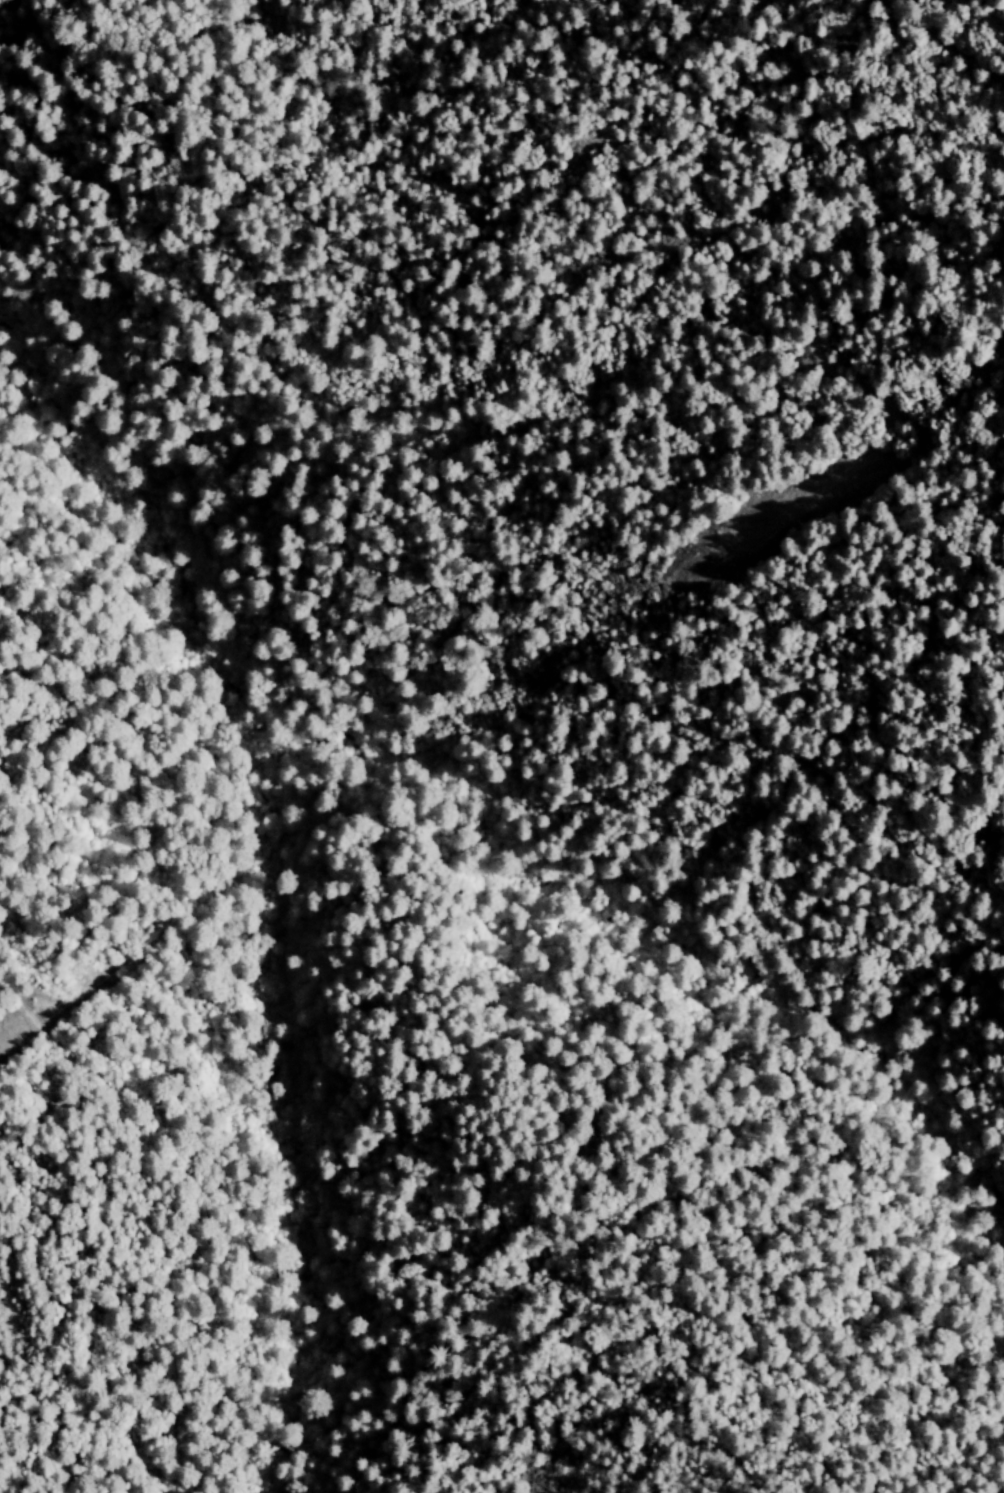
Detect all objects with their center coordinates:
road: (949, 57)
power tower: (731, 547)

